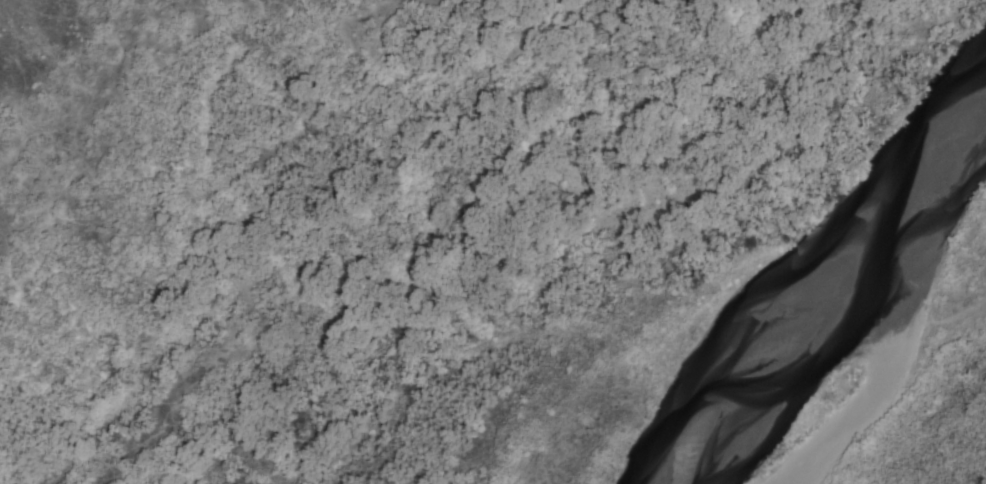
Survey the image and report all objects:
river: (814, 340)

